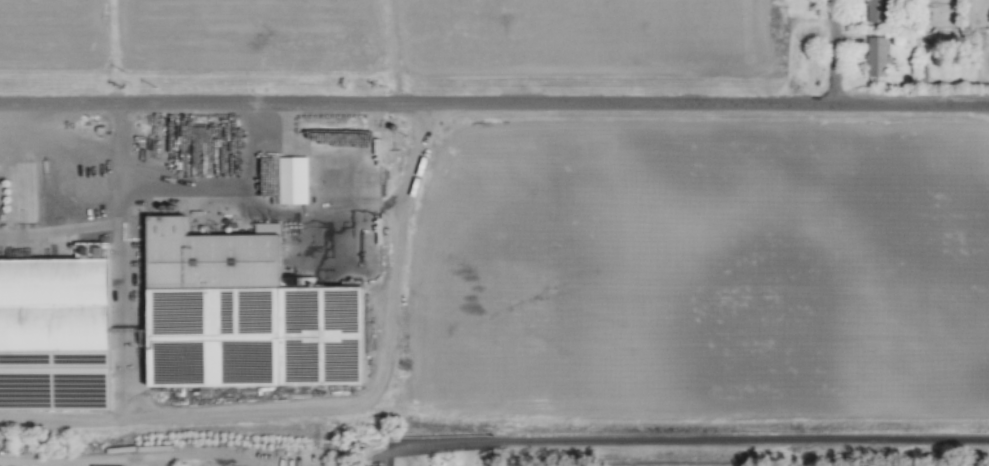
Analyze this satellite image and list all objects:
building: (878, 11)
road: (834, 53)
building: (877, 57)
road: (494, 102)
building: (174, 130)
building: (294, 179)
road: (183, 188)
building: (57, 302)
building: (247, 313)
road: (337, 410)
road: (676, 441)
building: (117, 465)

